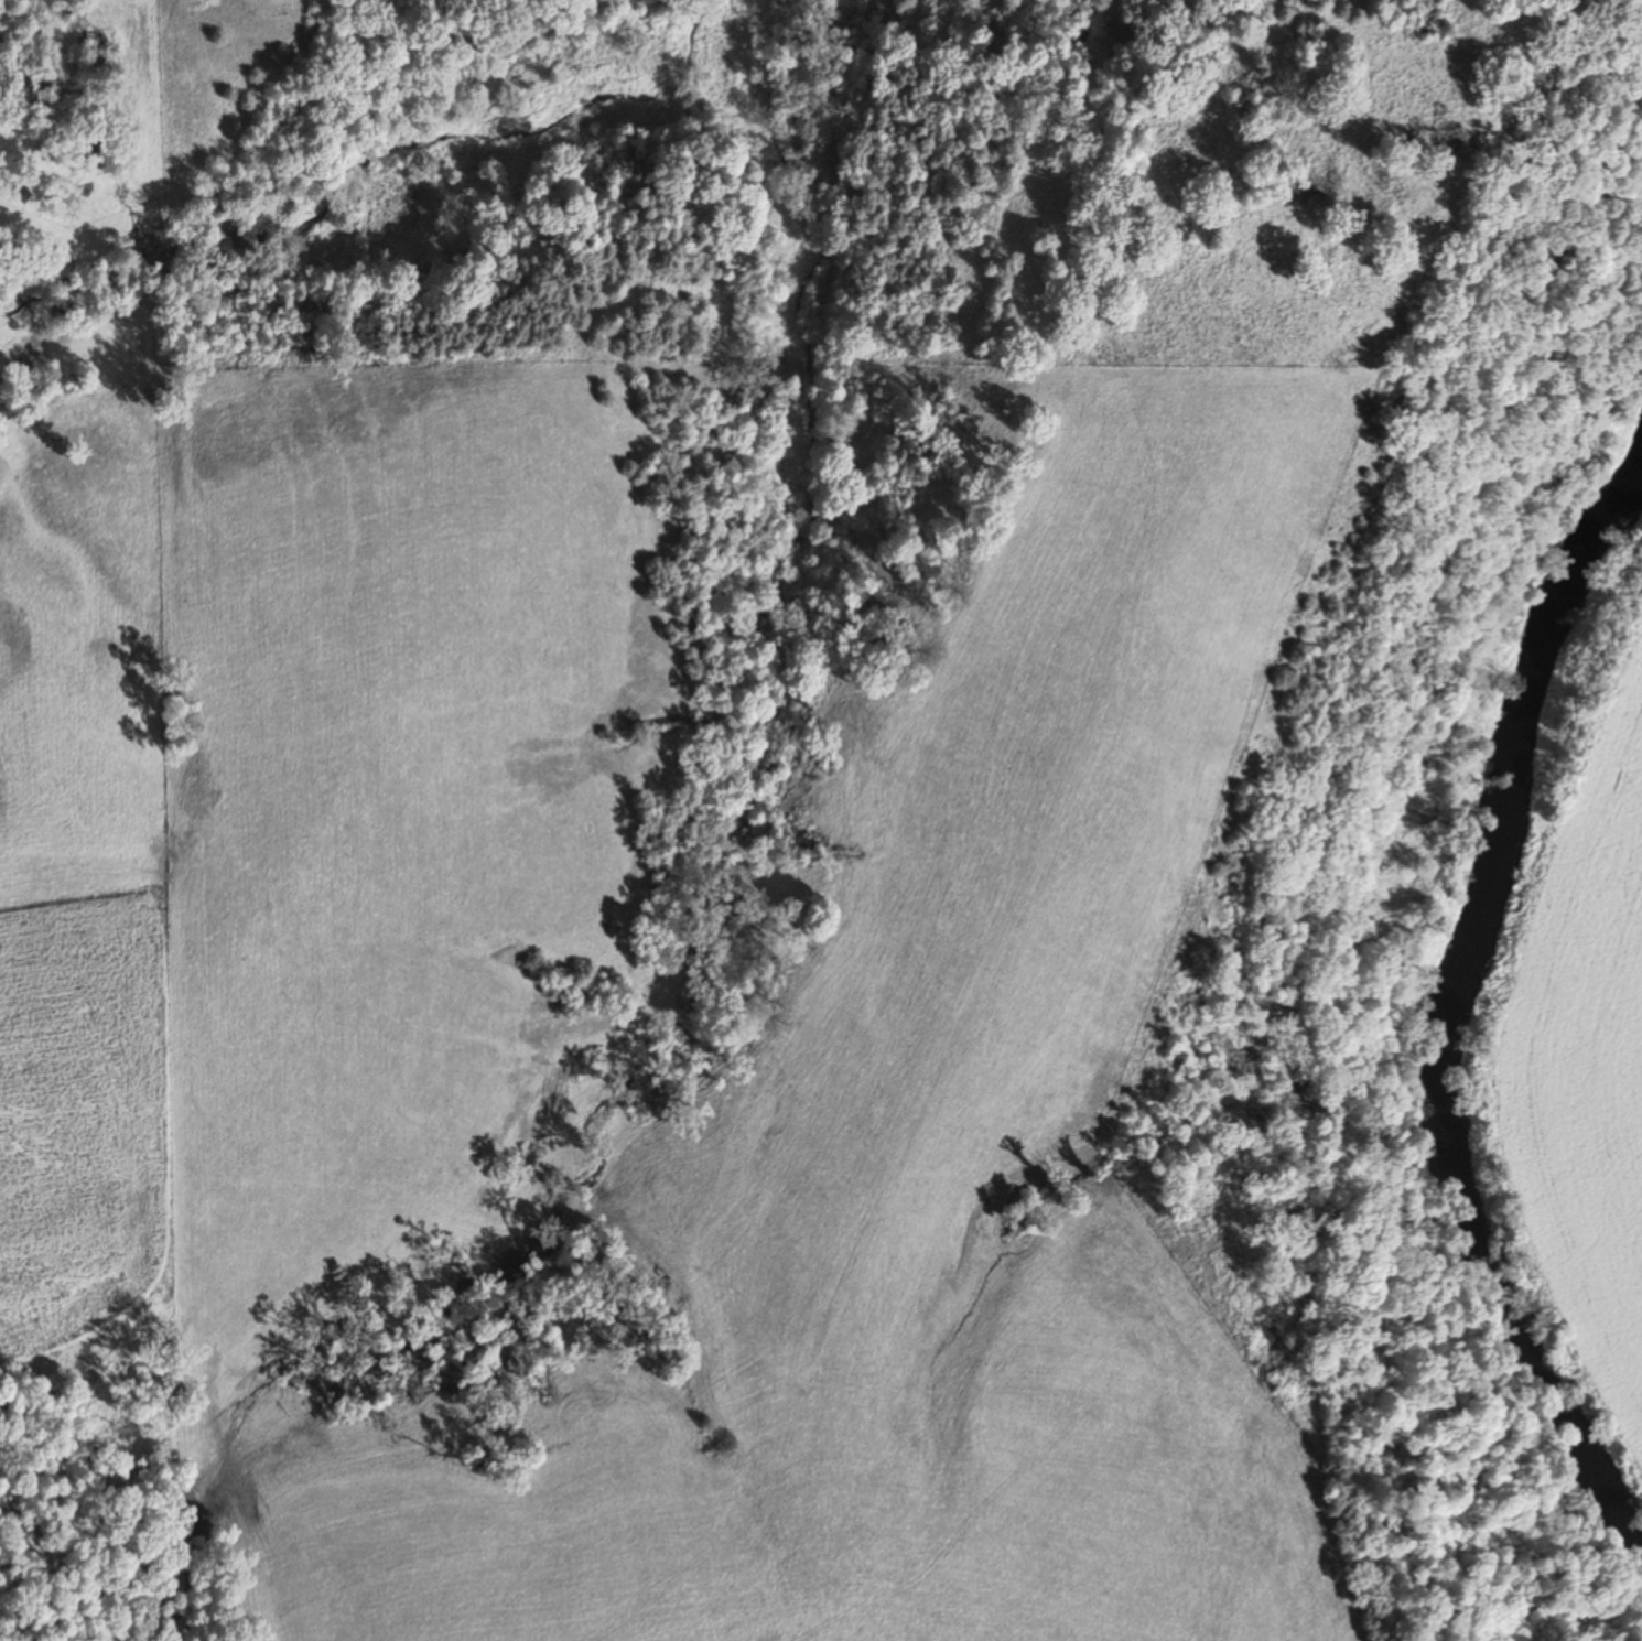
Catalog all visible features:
river: (1435, 990)

